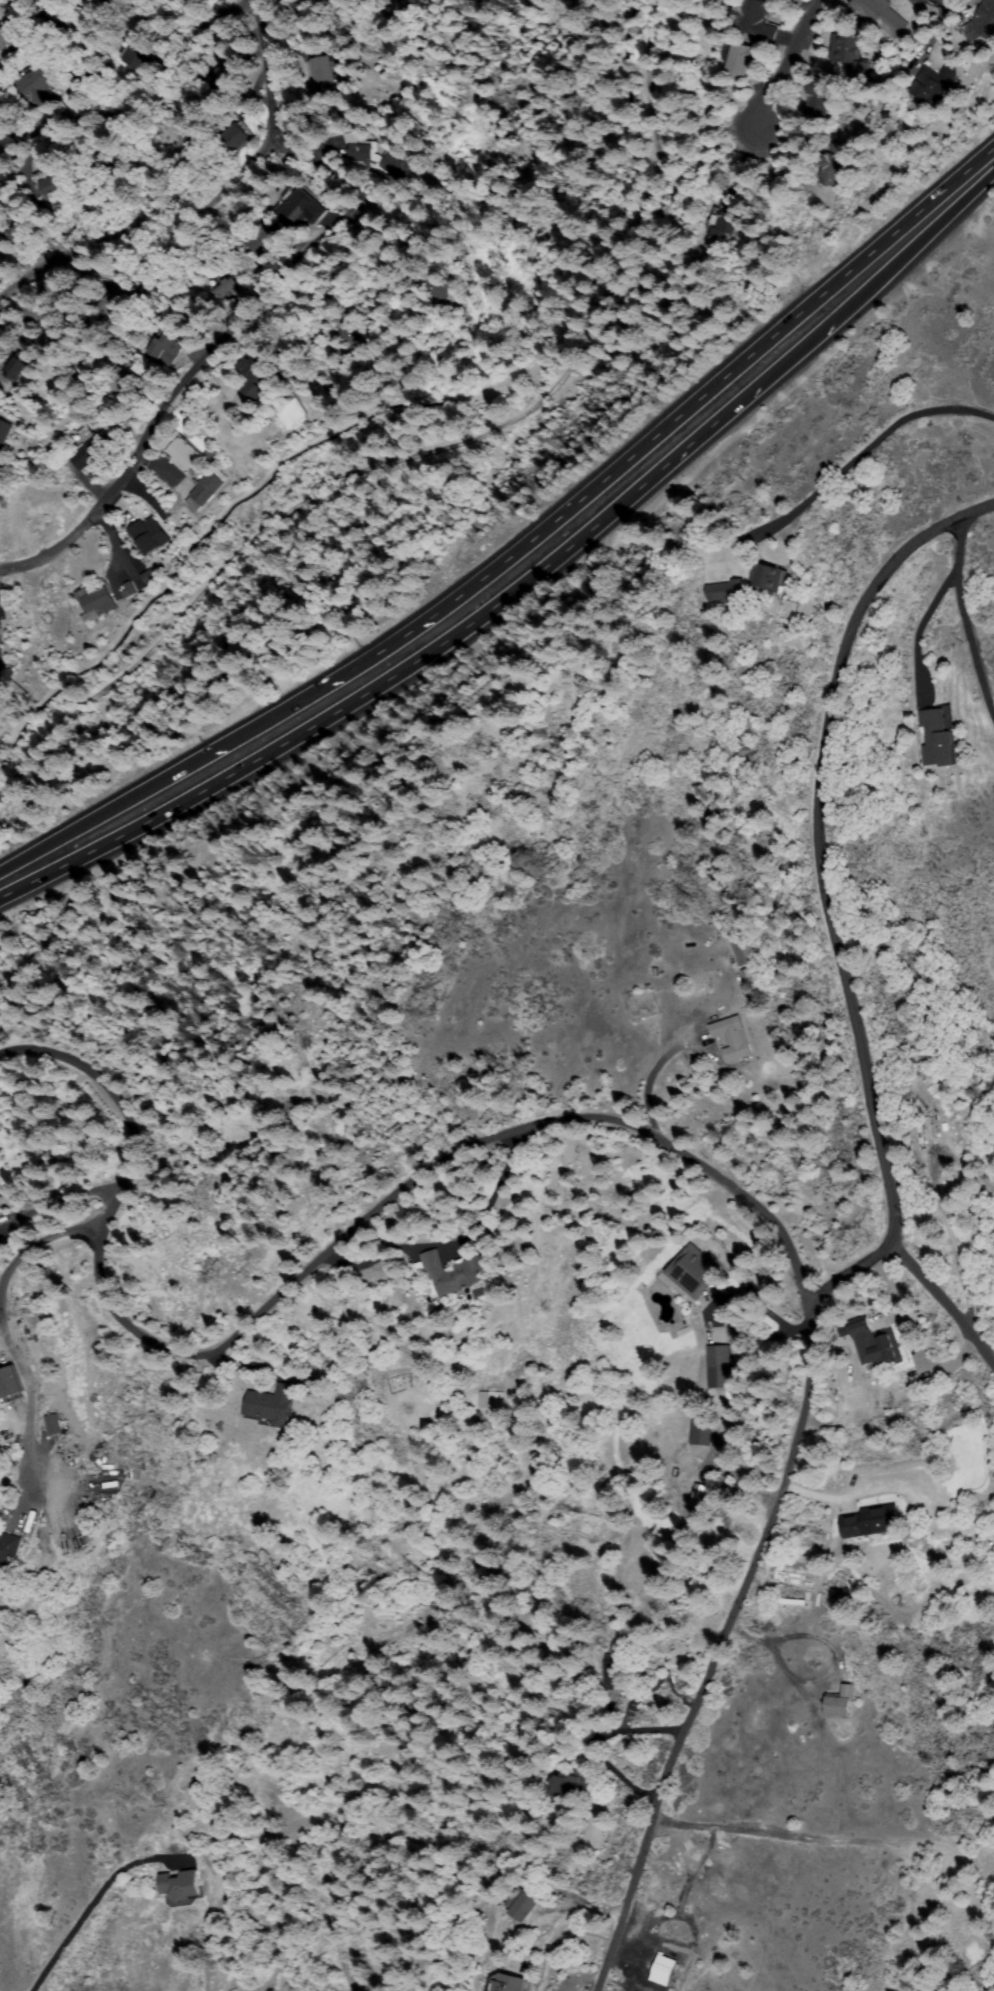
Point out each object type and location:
building: (383, 2)
building: (399, 2)
building: (56, 16)
building: (879, 16)
building: (755, 20)
building: (982, 23)
building: (10, 39)
building: (139, 53)
building: (850, 55)
building: (744, 59)
road: (786, 65)
road: (263, 70)
building: (323, 71)
building: (223, 76)
building: (78, 84)
building: (39, 85)
building: (933, 85)
building: (819, 98)
road: (151, 104)
building: (187, 137)
building: (234, 137)
building: (357, 149)
building: (833, 165)
building: (393, 168)
building: (105, 177)
building: (54, 186)
building: (298, 209)
road: (144, 228)
building: (723, 232)
building: (19, 235)
building: (262, 240)
road: (919, 248)
building: (224, 288)
building: (431, 290)
building: (117, 301)
building: (57, 322)
building: (349, 335)
building: (167, 348)
road: (204, 349)
building: (257, 367)
building: (19, 368)
building: (124, 382)
building: (4, 435)
building: (92, 452)
road: (860, 452)
building: (183, 455)
road: (603, 481)
building: (207, 489)
building: (150, 536)
building: (148, 577)
building: (767, 578)
building: (128, 590)
building: (725, 592)
building: (98, 602)
road: (965, 613)
road: (444, 646)
building: (937, 739)
road: (92, 819)
road: (823, 896)
building: (743, 951)
building: (655, 973)
building: (748, 975)
building: (733, 1038)
road: (303, 1269)
building: (417, 1271)
building: (694, 1272)
building: (454, 1273)
road: (941, 1306)
building: (876, 1346)
building: (718, 1368)
building: (8, 1385)
building: (270, 1406)
building: (53, 1425)
building: (700, 1432)
building: (697, 1495)
building: (870, 1521)
building: (8, 1549)
road: (732, 1628)
building: (612, 1673)
building: (839, 1704)
building: (571, 1785)
building: (180, 1887)
road: (85, 1904)
building: (521, 1906)
building: (661, 1971)
building: (508, 1985)

